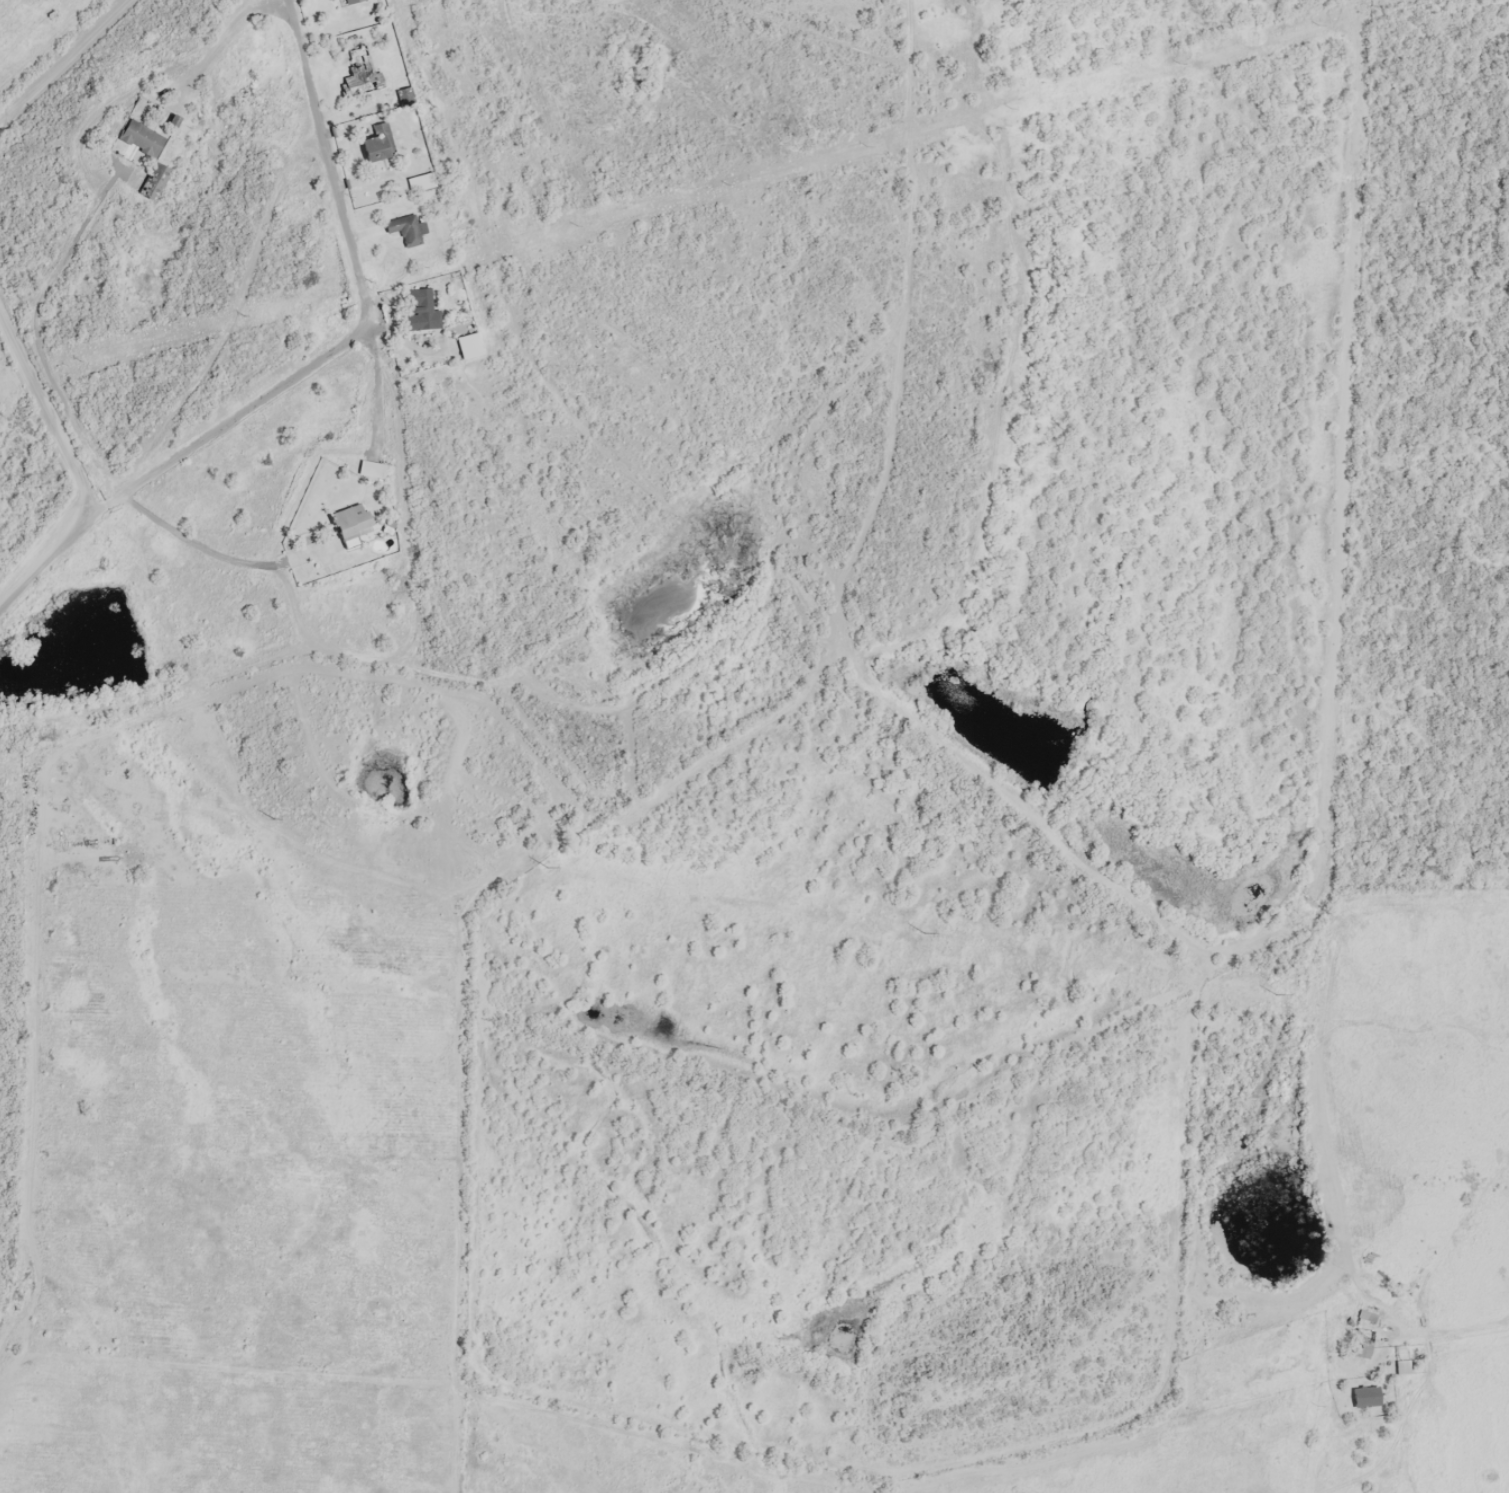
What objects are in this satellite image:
building: (350, 1)
road: (54, 64)
building: (359, 72)
building: (142, 137)
road: (907, 139)
building: (377, 144)
building: (403, 229)
building: (419, 308)
building: (467, 345)
road: (44, 422)
building: (371, 469)
building: (350, 524)
building: (1402, 1366)
building: (1365, 1396)

